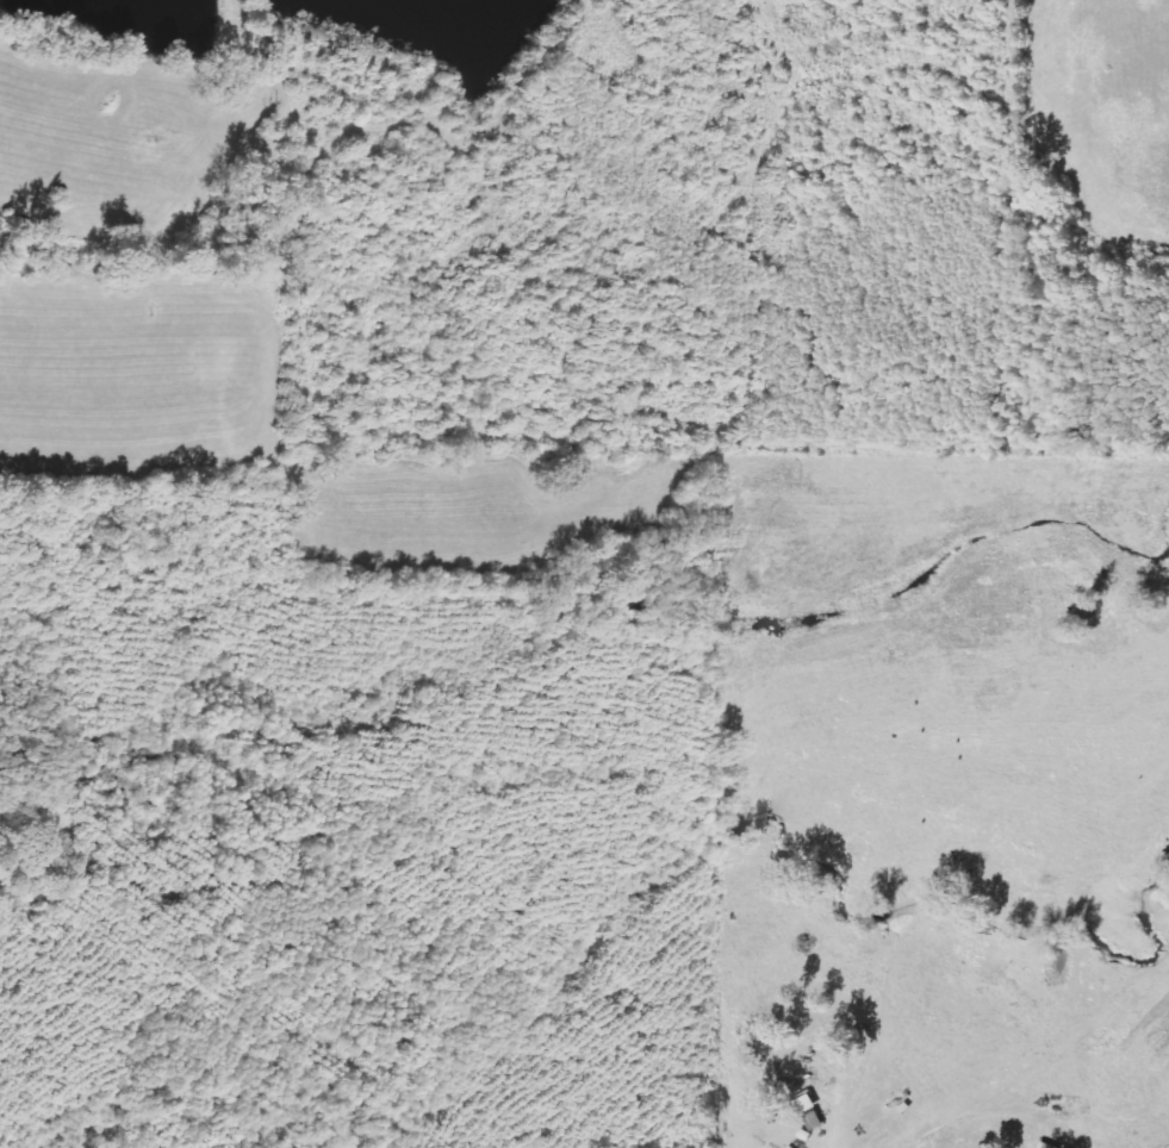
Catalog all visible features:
building: (808, 1105)
building: (816, 1122)
building: (1046, 1146)

